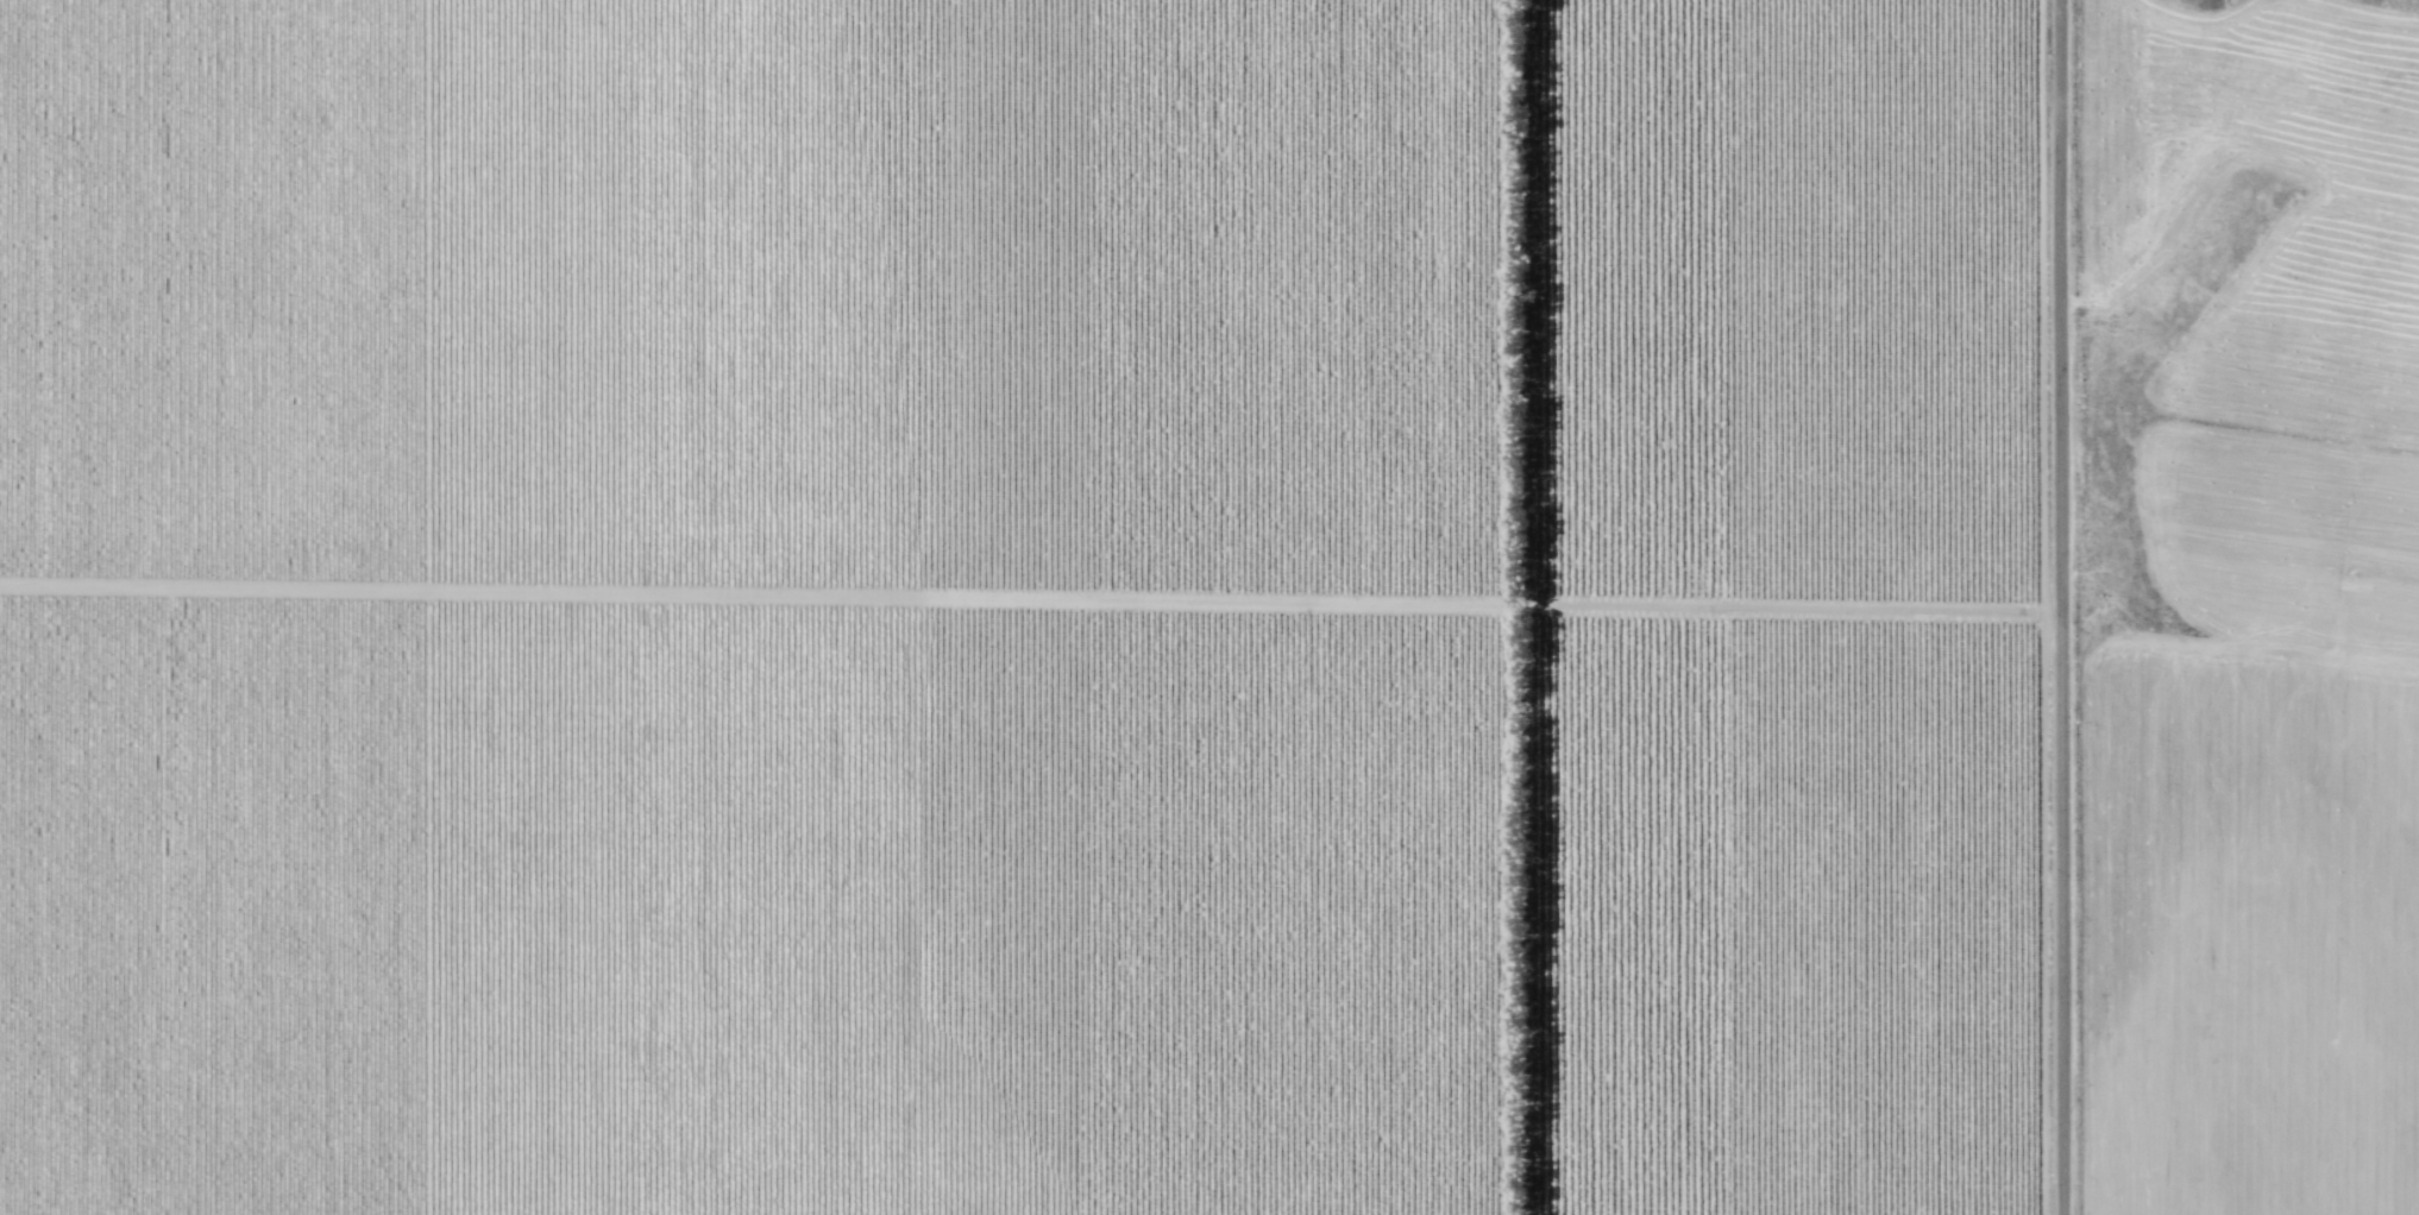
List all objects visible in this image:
road: (2066, 606)
crop: (1019, 607)

